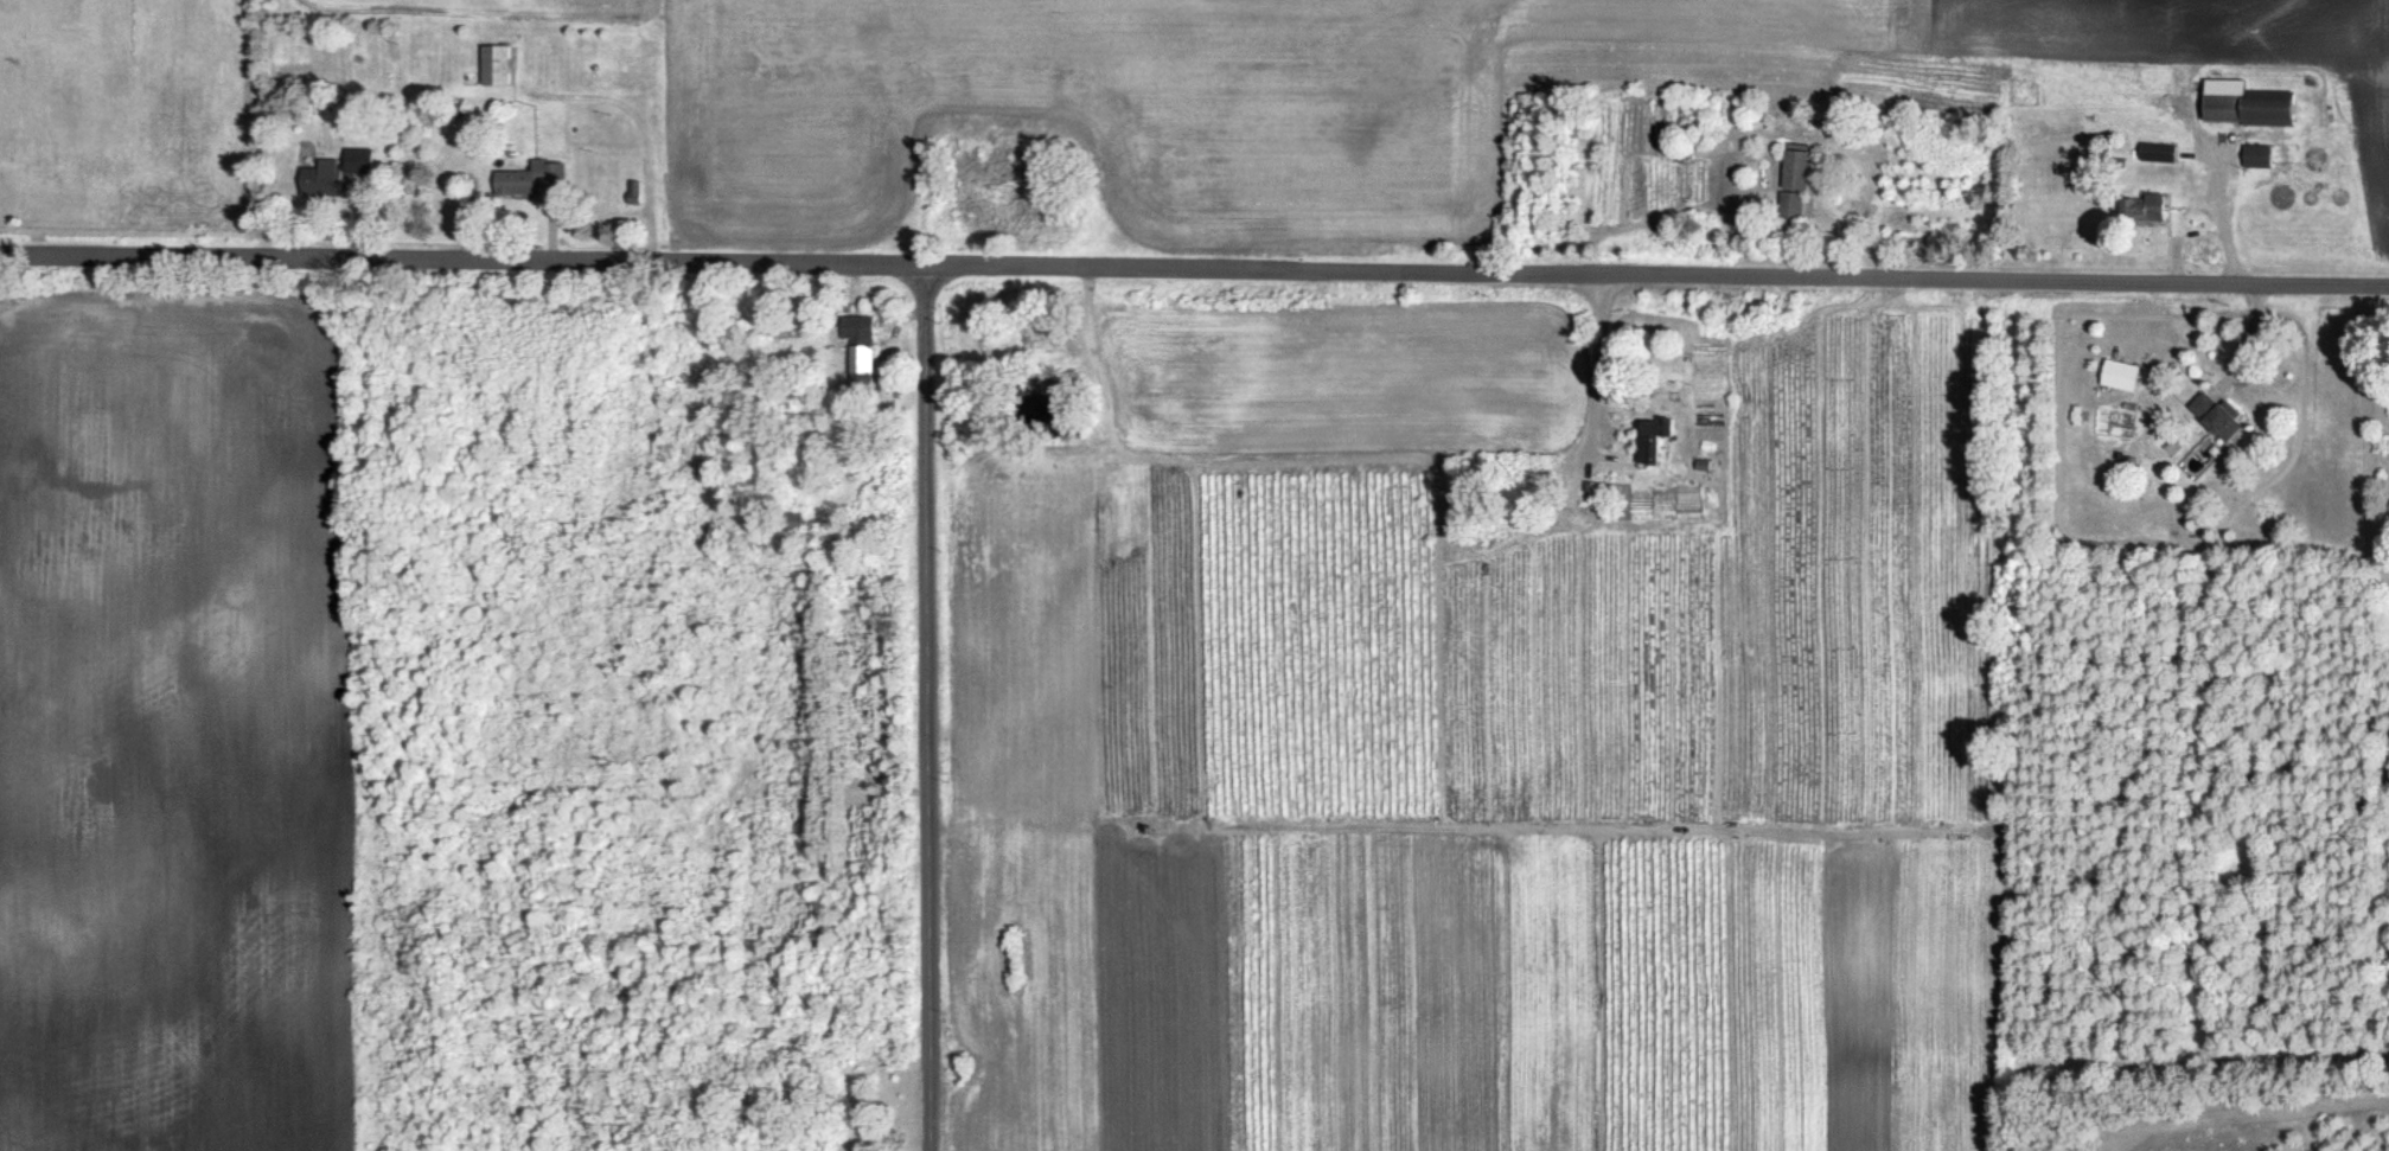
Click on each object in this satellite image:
building: (496, 63)
building: (2247, 104)
building: (2257, 154)
building: (358, 159)
building: (321, 177)
building: (529, 177)
building: (1794, 181)
road: (1194, 264)
building: (860, 340)
road: (2240, 340)
road: (1597, 360)
building: (2121, 373)
building: (2216, 415)
building: (1652, 440)
road: (926, 705)

